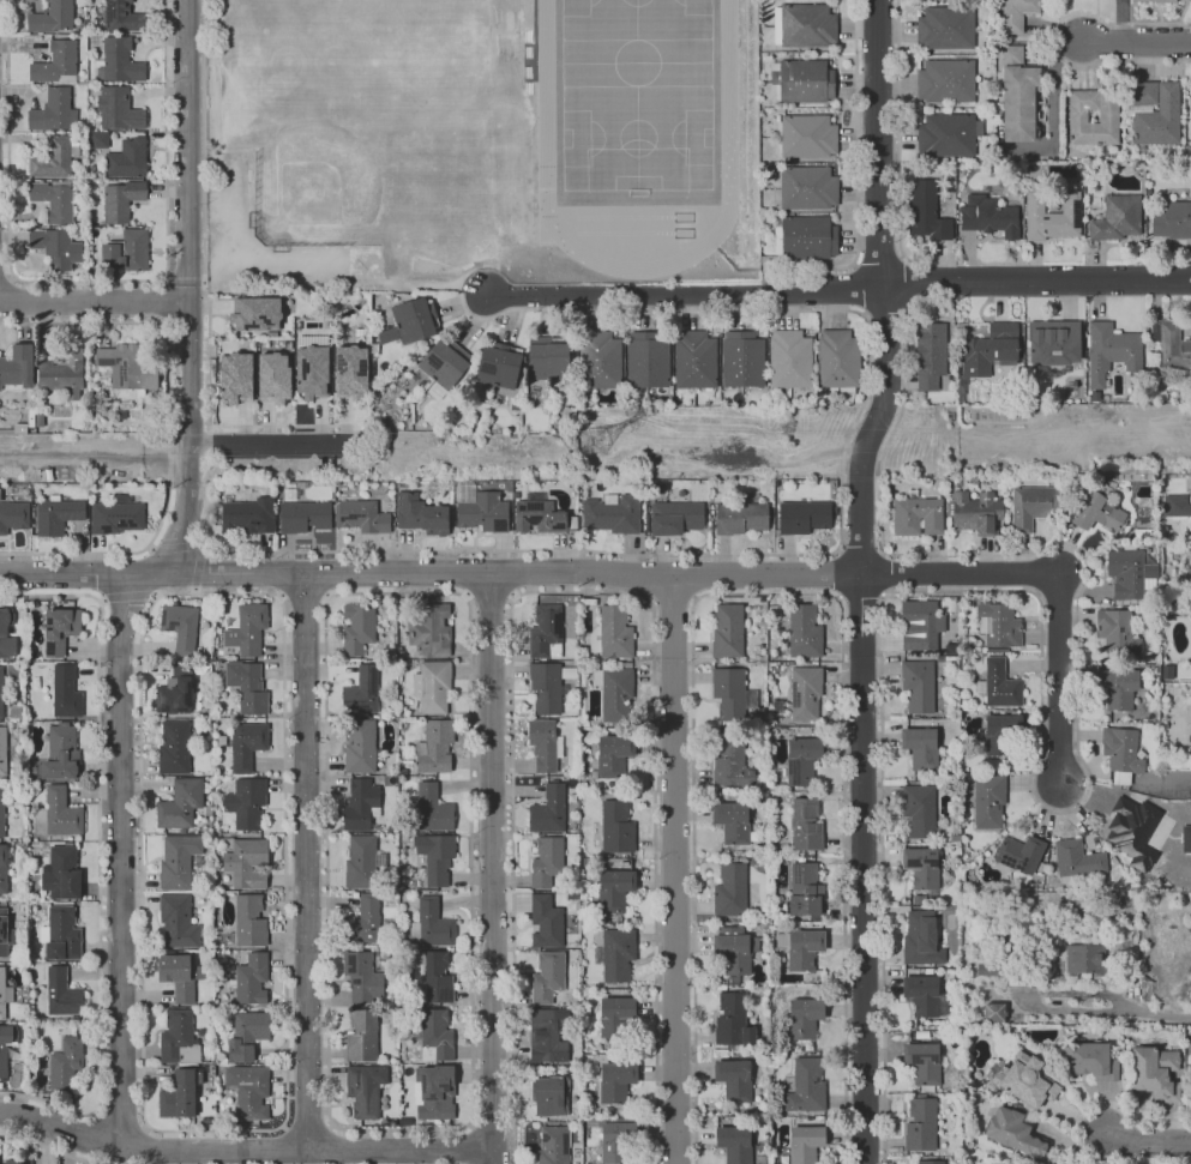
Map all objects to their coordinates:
building: (1149, 0)
building: (1190, 0)
building: (1016, 13)
building: (52, 17)
building: (124, 17)
building: (808, 24)
building: (944, 26)
road: (1052, 36)
road: (1136, 40)
building: (119, 61)
building: (55, 62)
building: (806, 80)
building: (945, 80)
building: (1017, 95)
building: (1190, 107)
building: (118, 108)
building: (54, 111)
building: (1156, 111)
building: (1091, 115)
building: (945, 134)
building: (807, 135)
building: (100, 139)
track: (545, 141)
building: (55, 158)
building: (127, 158)
park: (324, 176)
building: (808, 187)
building: (54, 199)
building: (121, 201)
building: (926, 212)
building: (1052, 213)
building: (988, 216)
building: (1117, 217)
building: (1172, 218)
building: (808, 236)
building: (56, 247)
building: (127, 252)
road: (6, 276)
road: (163, 278)
road: (86, 281)
road: (182, 281)
road: (203, 282)
road: (836, 285)
building: (321, 288)
road: (188, 296)
road: (94, 301)
road: (459, 301)
building: (254, 313)
building: (411, 321)
building: (1053, 342)
building: (1171, 346)
building: (988, 349)
building: (1109, 351)
building: (928, 354)
building: (598, 358)
building: (646, 358)
building: (693, 358)
building: (790, 358)
building: (837, 358)
building: (549, 360)
building: (741, 360)
building: (499, 364)
building: (128, 366)
building: (444, 366)
building: (17, 369)
building: (62, 372)
building: (312, 372)
building: (350, 372)
building: (273, 378)
building: (235, 379)
road: (902, 382)
building: (422, 385)
building: (40, 420)
building: (19, 428)
road: (167, 430)
building: (5, 432)
road: (259, 444)
power tower: (593, 444)
road: (95, 454)
building: (362, 494)
building: (516, 494)
building: (1190, 497)
building: (122, 499)
building: (1174, 505)
building: (1031, 506)
building: (483, 512)
building: (975, 512)
building: (1096, 513)
building: (56, 514)
building: (421, 514)
building: (14, 515)
building: (247, 515)
building: (305, 515)
building: (542, 515)
building: (612, 515)
building: (801, 515)
building: (363, 517)
building: (674, 517)
building: (916, 517)
building: (116, 518)
building: (739, 518)
road: (150, 545)
road: (201, 547)
road: (175, 548)
road: (571, 550)
road: (198, 567)
road: (429, 572)
building: (1127, 573)
road: (957, 574)
road: (860, 579)
road: (194, 591)
road: (579, 592)
road: (127, 596)
road: (155, 596)
road: (487, 596)
road: (303, 598)
road: (464, 599)
road: (101, 601)
road: (281, 602)
building: (920, 621)
building: (999, 623)
building: (180, 627)
building: (359, 627)
building: (432, 628)
building: (60, 629)
building: (247, 629)
building: (802, 629)
building: (547, 631)
building: (613, 631)
building: (727, 632)
building: (1115, 632)
building: (6, 634)
road: (1054, 677)
road: (1041, 682)
building: (999, 683)
building: (433, 684)
building: (549, 684)
building: (916, 684)
building: (247, 687)
building: (1118, 687)
building: (176, 690)
building: (363, 690)
building: (66, 692)
building: (728, 692)
building: (804, 692)
building: (1, 693)
building: (616, 695)
building: (1001, 735)
building: (546, 743)
building: (247, 744)
building: (362, 744)
building: (435, 744)
building: (174, 747)
building: (919, 748)
building: (1120, 749)
building: (2, 752)
building: (61, 753)
building: (610, 756)
building: (801, 760)
building: (730, 762)
building: (987, 801)
building: (181, 803)
building: (361, 803)
building: (247, 804)
building: (433, 807)
building: (549, 809)
building: (918, 810)
building: (1, 814)
building: (58, 814)
building: (730, 820)
building: (1129, 824)
building: (804, 825)
building: (615, 826)
building: (1185, 838)
building: (1018, 854)
road: (98, 856)
building: (437, 856)
road: (120, 857)
building: (1075, 857)
building: (548, 860)
building: (179, 861)
road: (307, 861)
building: (247, 862)
building: (363, 862)
building: (920, 867)
road: (492, 868)
building: (4, 869)
road: (674, 872)
building: (61, 873)
building: (613, 889)
building: (729, 889)
building: (804, 889)
building: (251, 919)
building: (363, 921)
building: (547, 921)
building: (178, 922)
building: (432, 924)
building: (5, 934)
building: (61, 935)
building: (920, 937)
building: (804, 948)
building: (732, 949)
building: (616, 953)
building: (1084, 959)
building: (181, 975)
building: (435, 975)
building: (548, 976)
building: (363, 977)
building: (249, 978)
building: (62, 993)
building: (5, 994)
building: (924, 995)
road: (1107, 1011)
building: (992, 1012)
building: (613, 1014)
building: (804, 1017)
building: (734, 1020)
building: (435, 1033)
building: (248, 1035)
building: (363, 1035)
building: (546, 1036)
building: (179, 1038)
building: (6, 1045)
building: (1088, 1059)
building: (921, 1063)
building: (66, 1065)
building: (1154, 1073)
building: (734, 1079)
building: (615, 1080)
building: (1028, 1080)
building: (1190, 1080)
building: (805, 1086)
building: (366, 1088)
building: (249, 1090)
building: (435, 1091)
building: (181, 1094)
building: (549, 1094)
road: (119, 1121)
road: (307, 1124)
building: (920, 1124)
building: (1013, 1132)
building: (735, 1140)
road: (1149, 1140)
building: (616, 1142)
road: (470, 1144)
building: (805, 1144)
building: (554, 1145)
road: (49, 1147)
road: (245, 1148)
building: (18, 1160)
building: (928, 1162)

